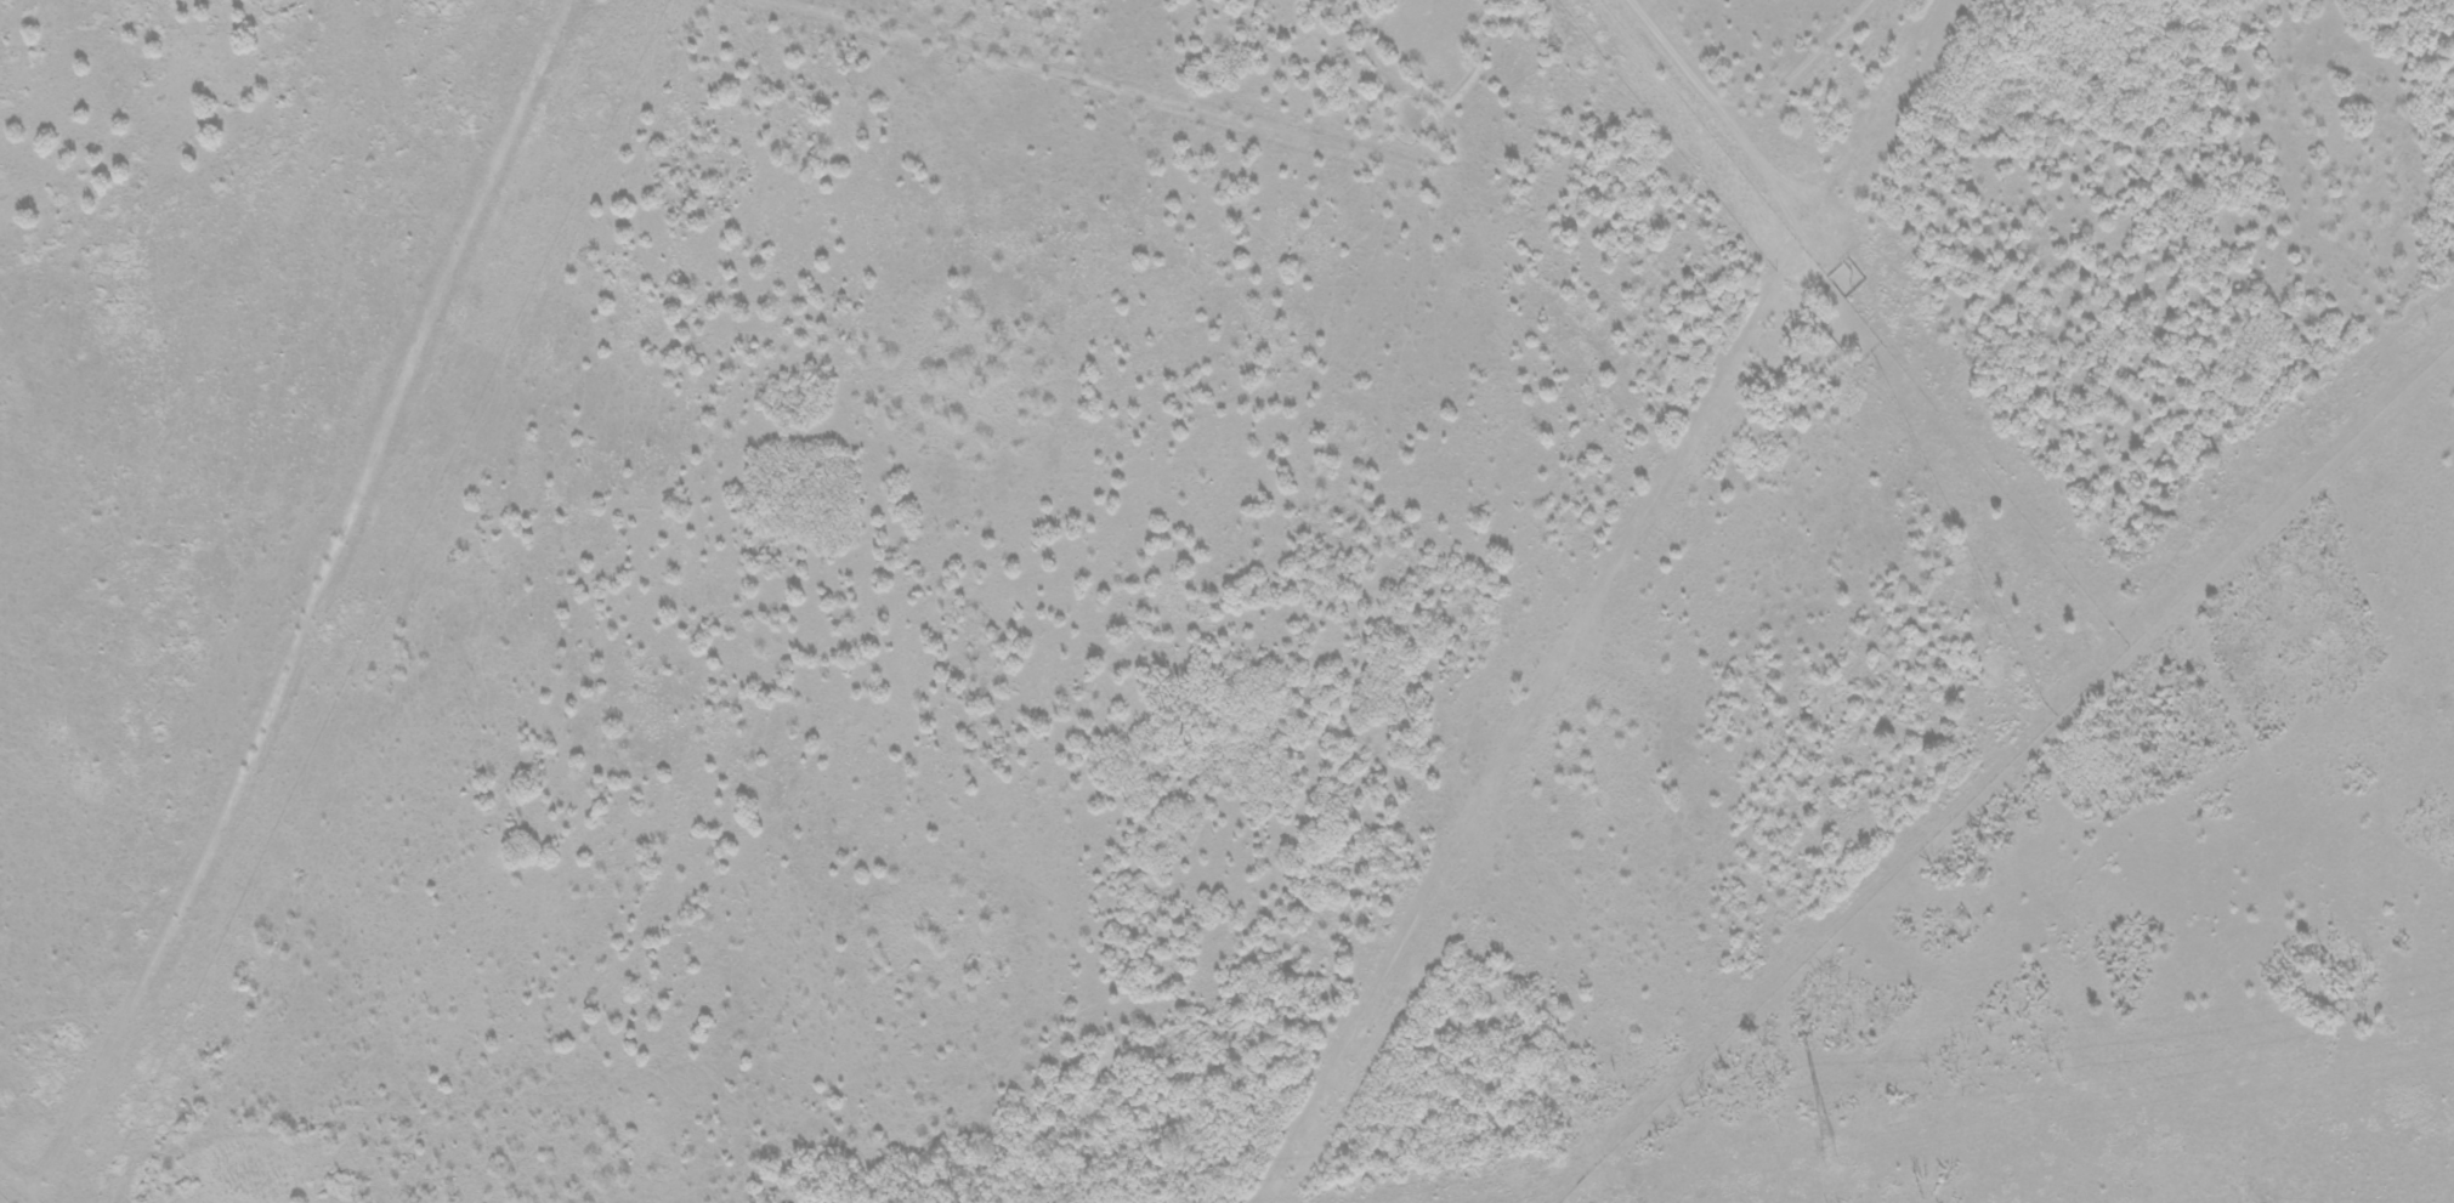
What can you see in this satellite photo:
power tower: (1827, 1152)

